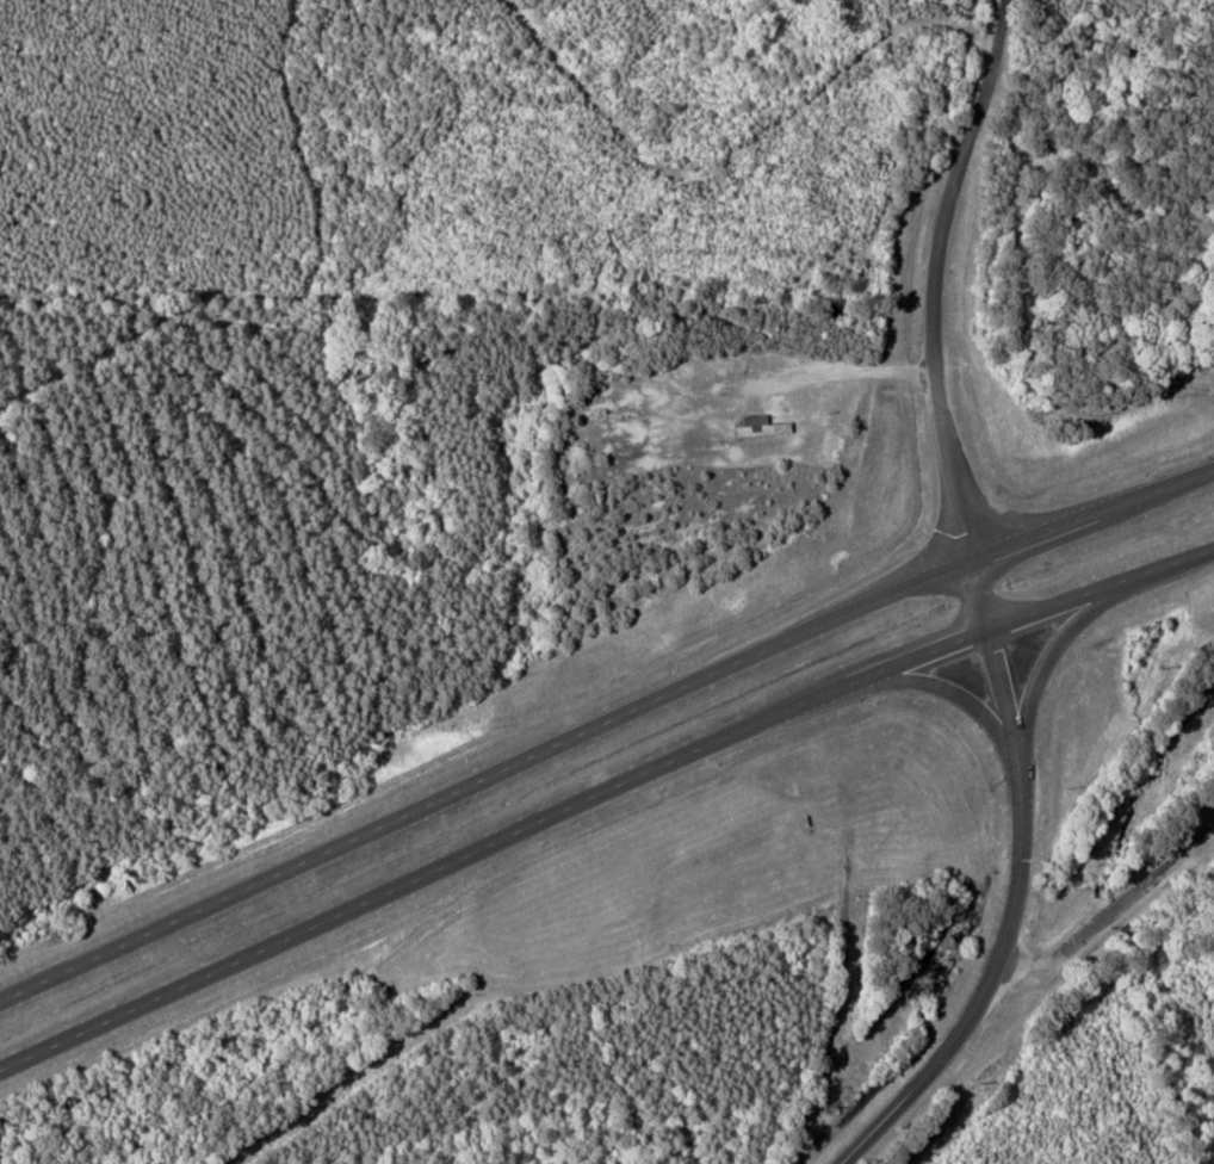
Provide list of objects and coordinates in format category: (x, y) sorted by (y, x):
road: (934, 279)
building: (756, 425)
road: (1047, 658)
road: (941, 687)
road: (601, 722)
road: (599, 792)
road: (1011, 890)

